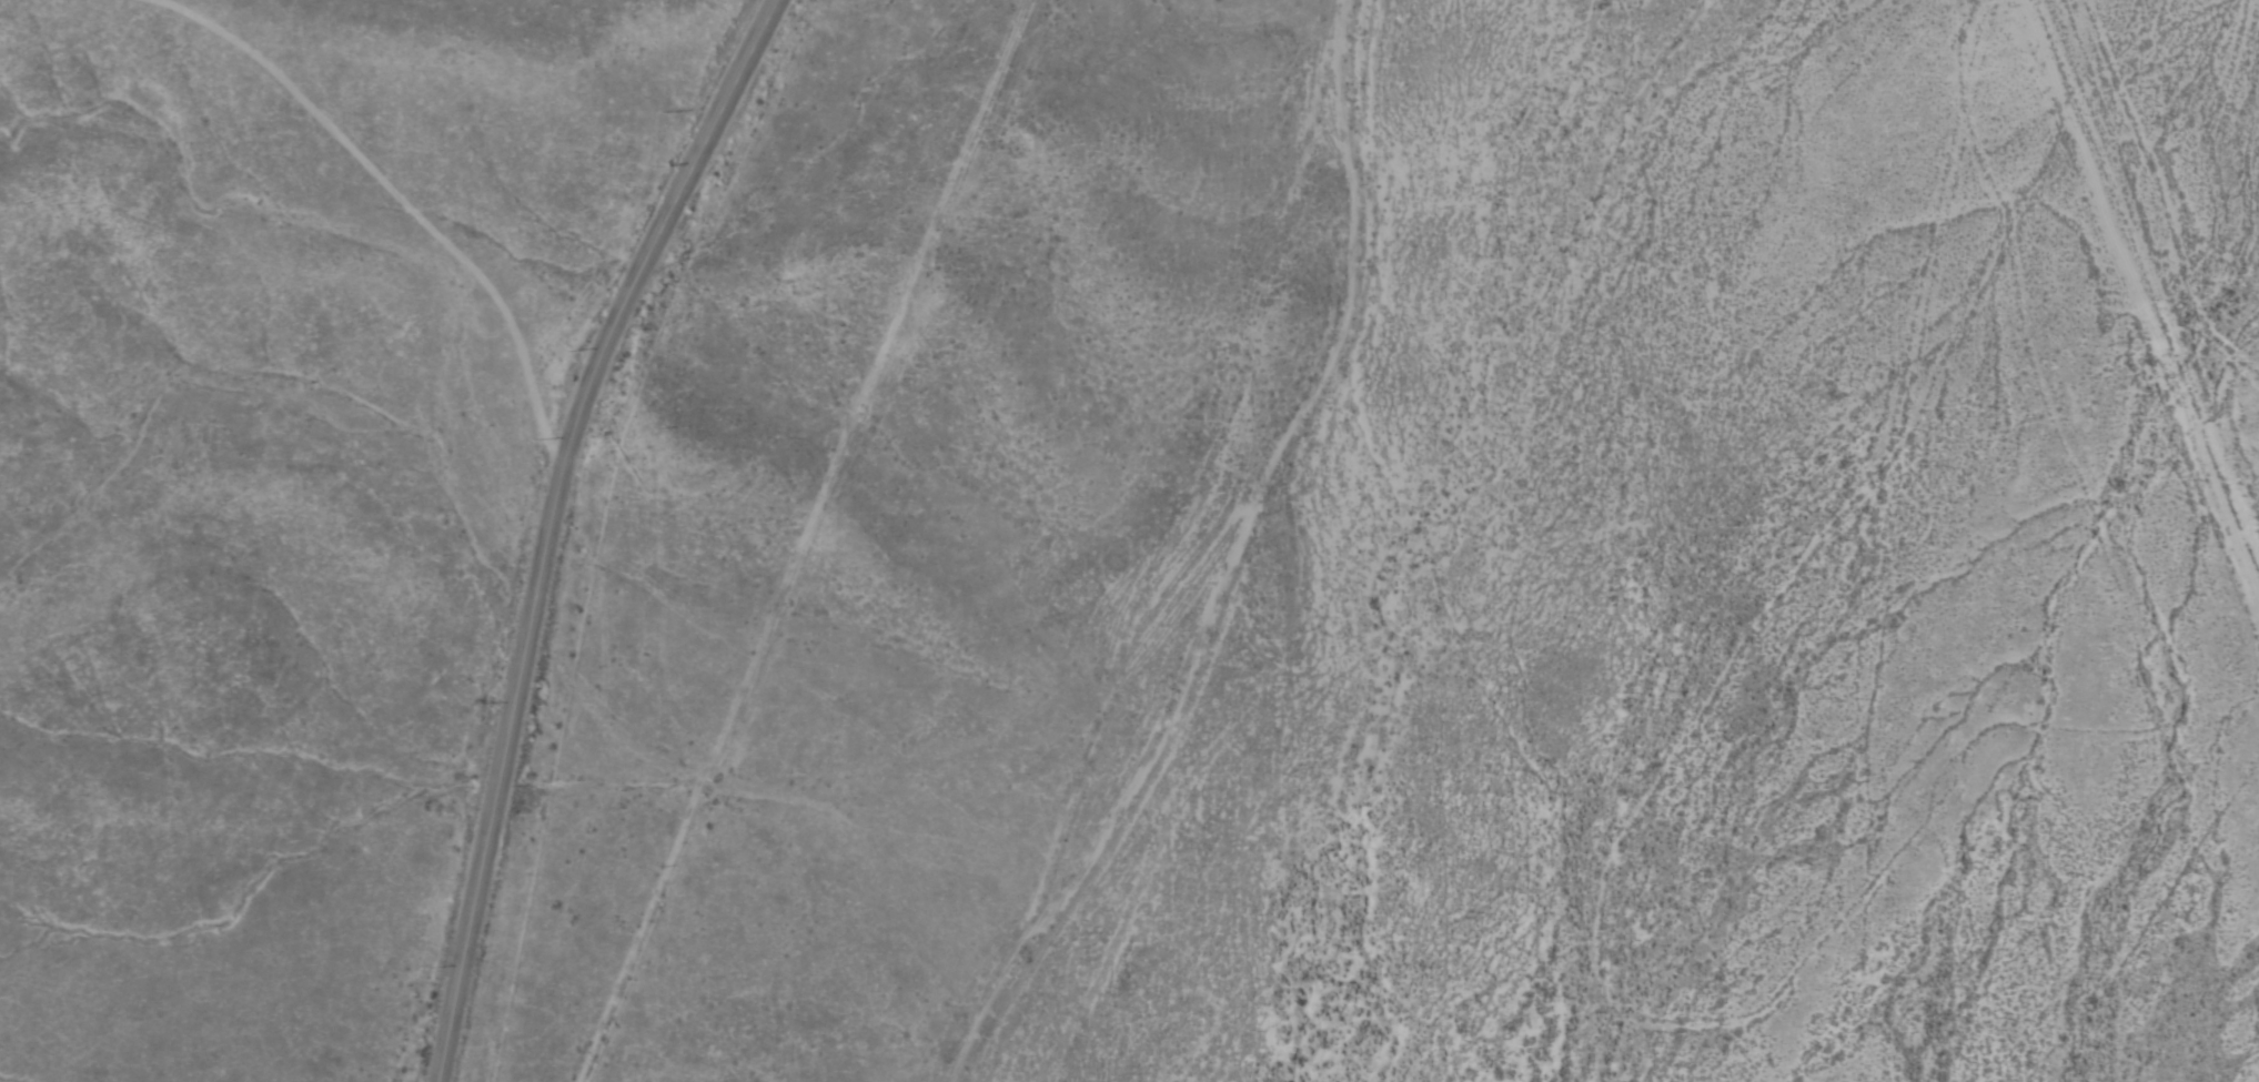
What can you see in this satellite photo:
road: (557, 524)
road: (1223, 550)

